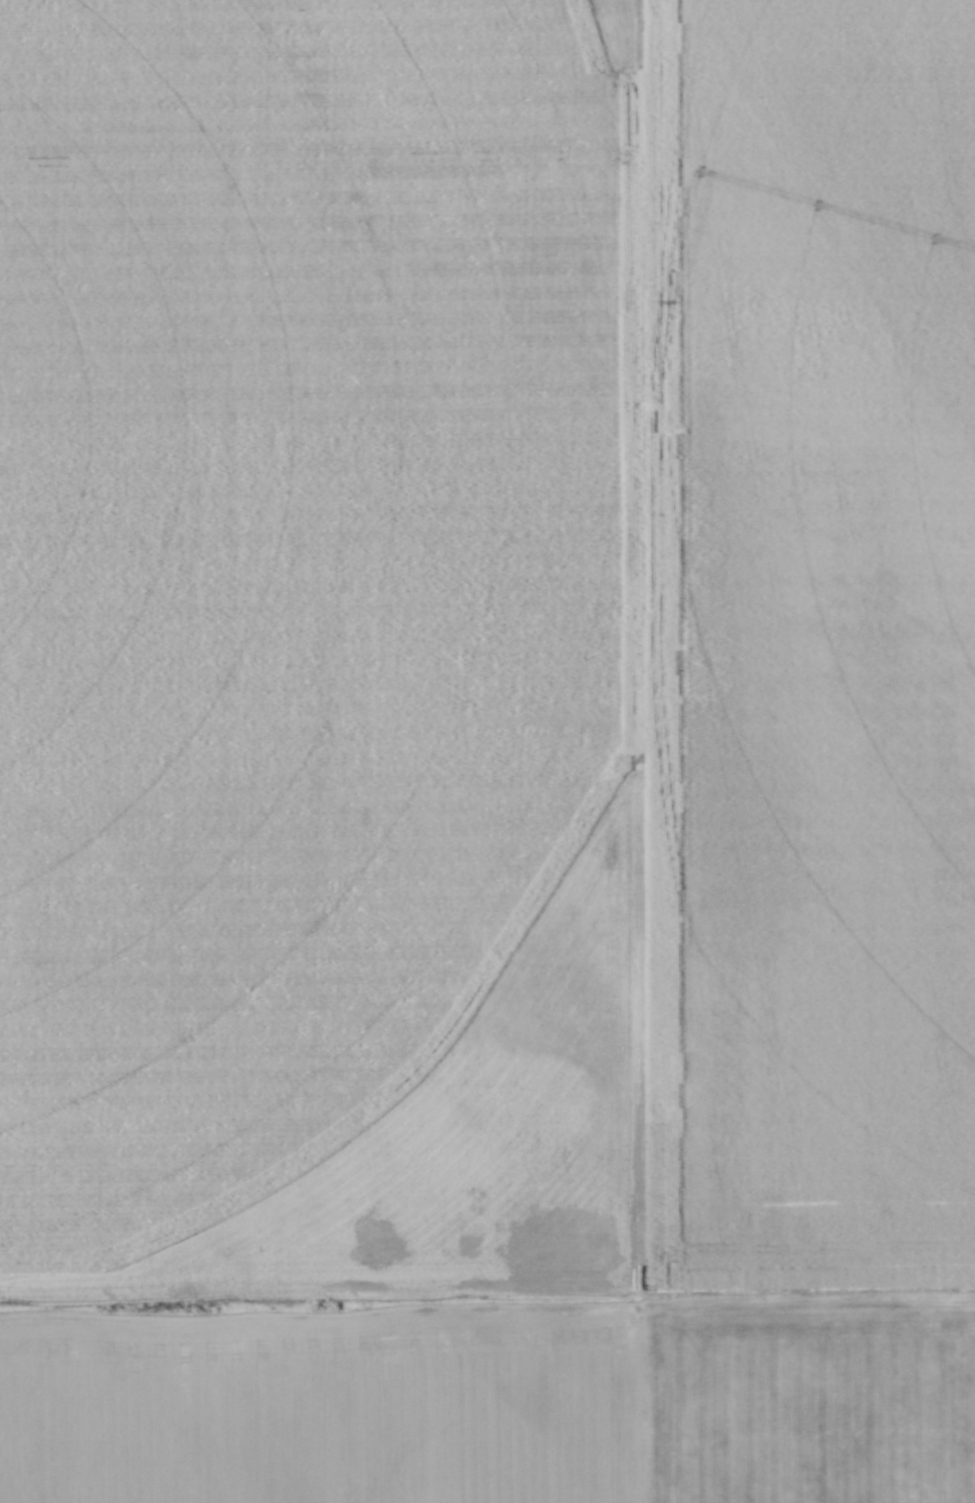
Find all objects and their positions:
crop: (487, 751)

